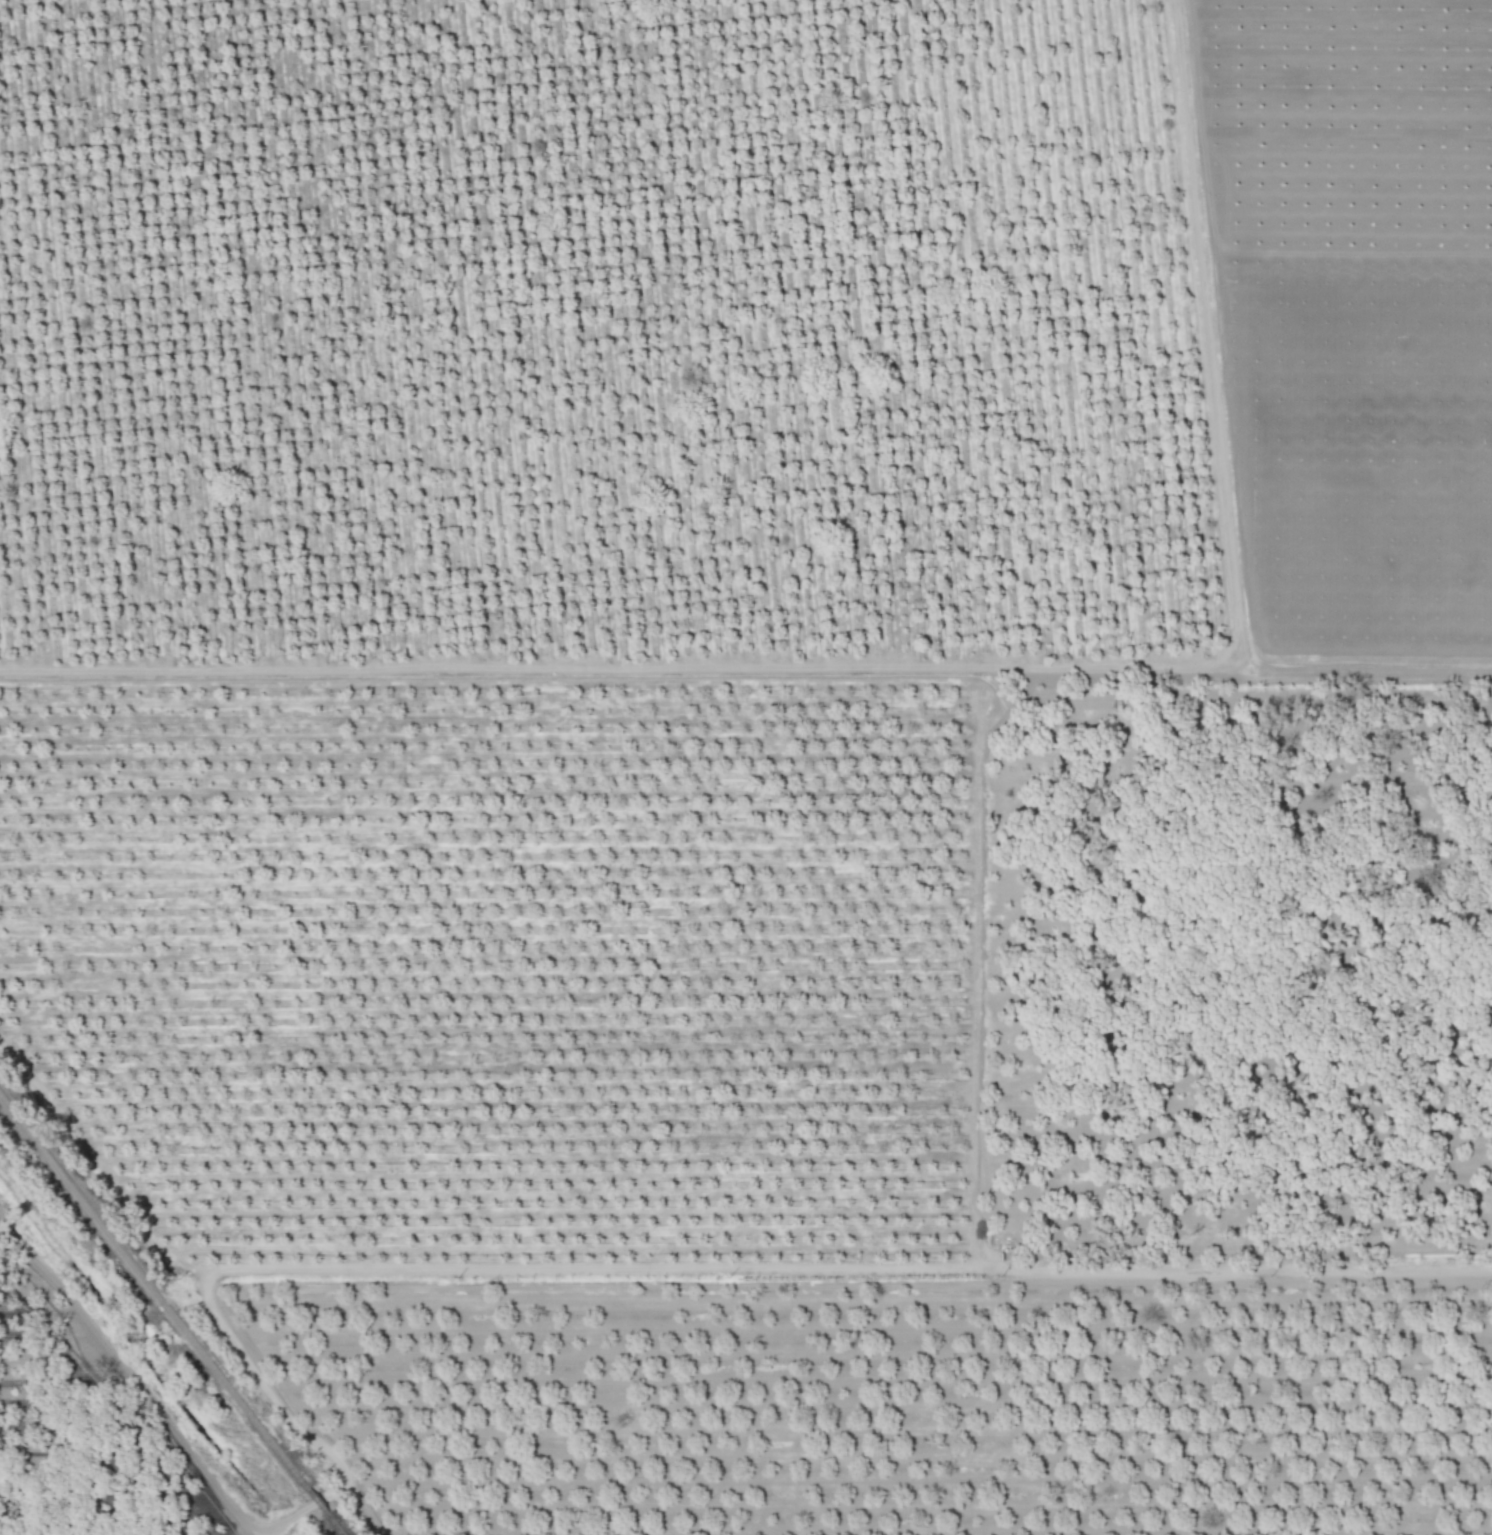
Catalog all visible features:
road: (1196, 329)
crop: (746, 767)
railway: (172, 1312)

